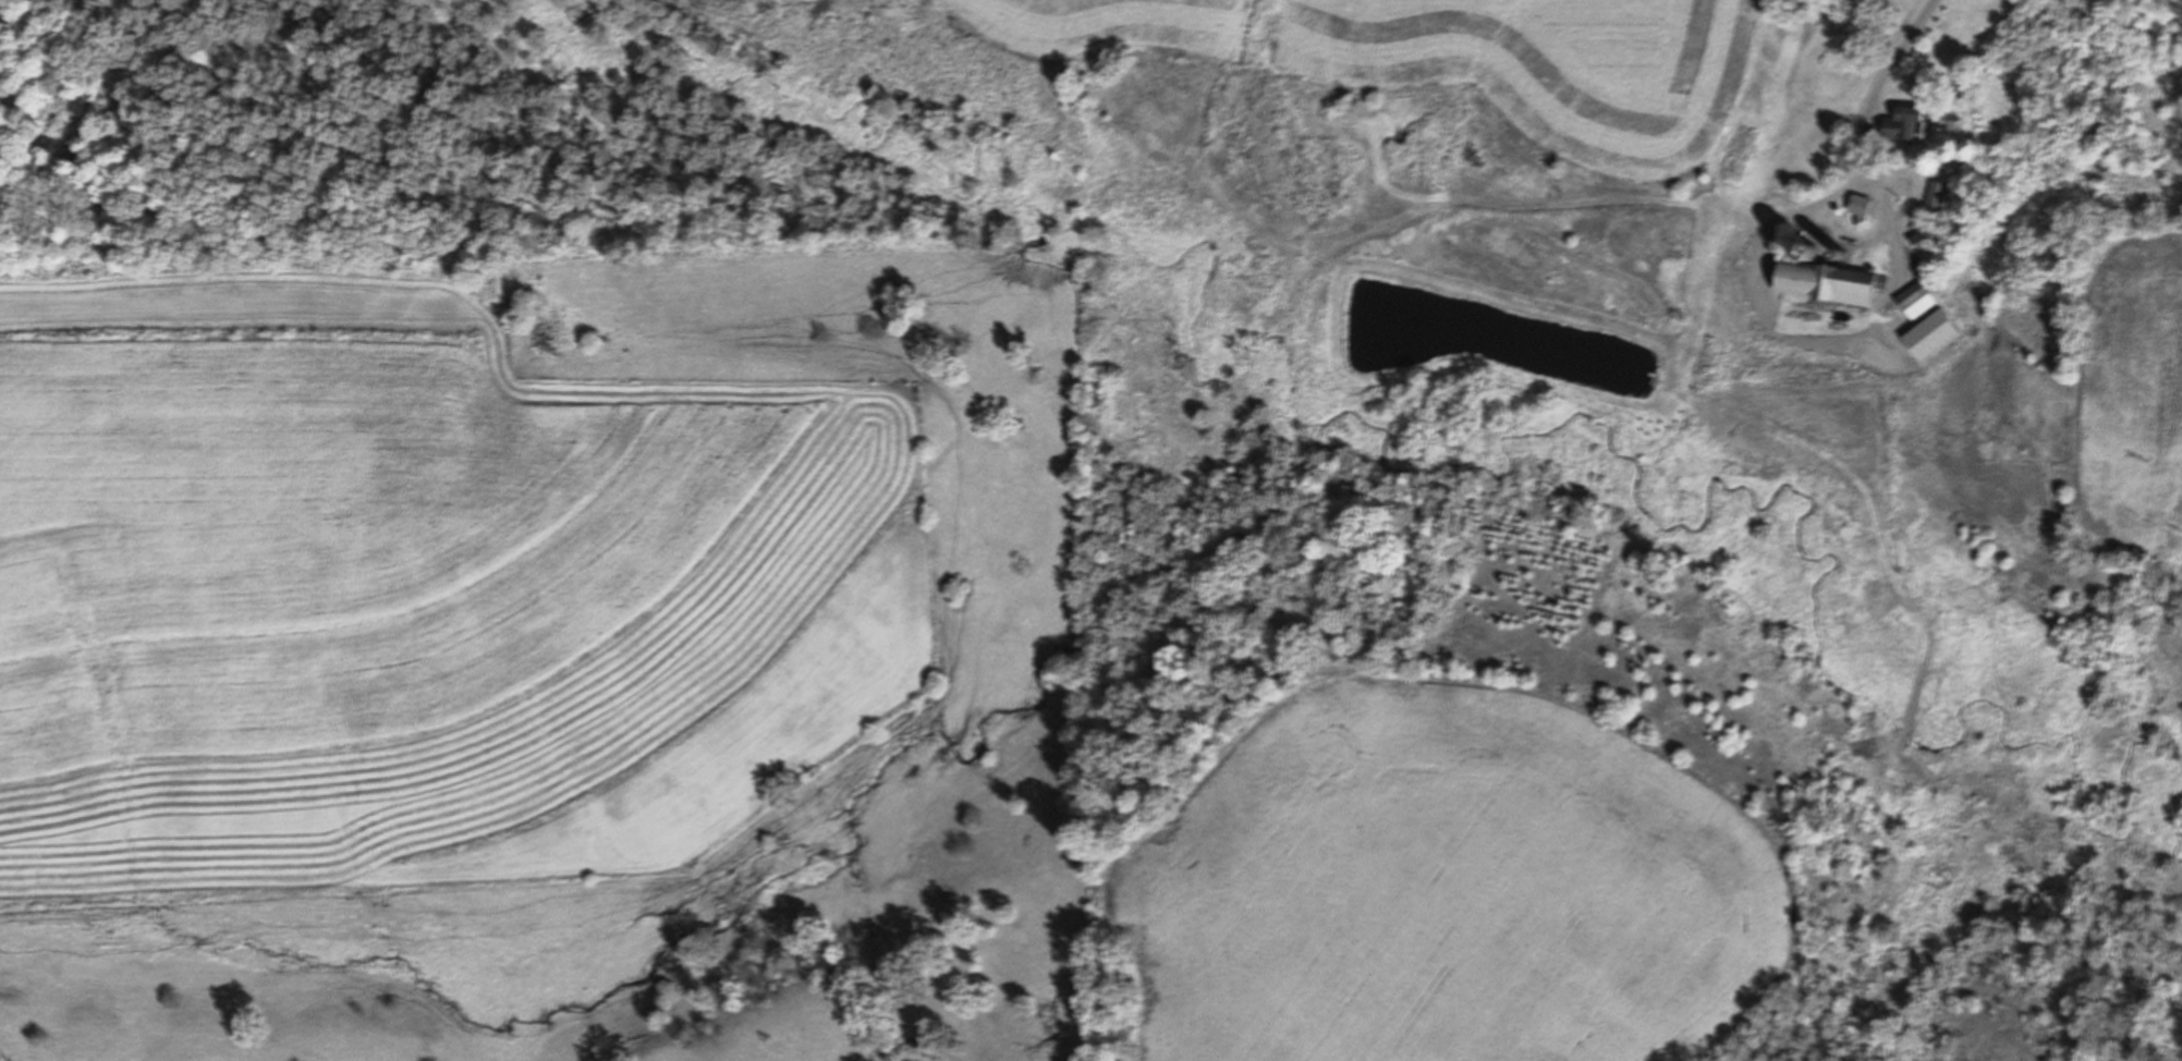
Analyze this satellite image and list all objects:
building: (1902, 124)
building: (1936, 197)
building: (1823, 280)
building: (1917, 298)
building: (2102, 612)

